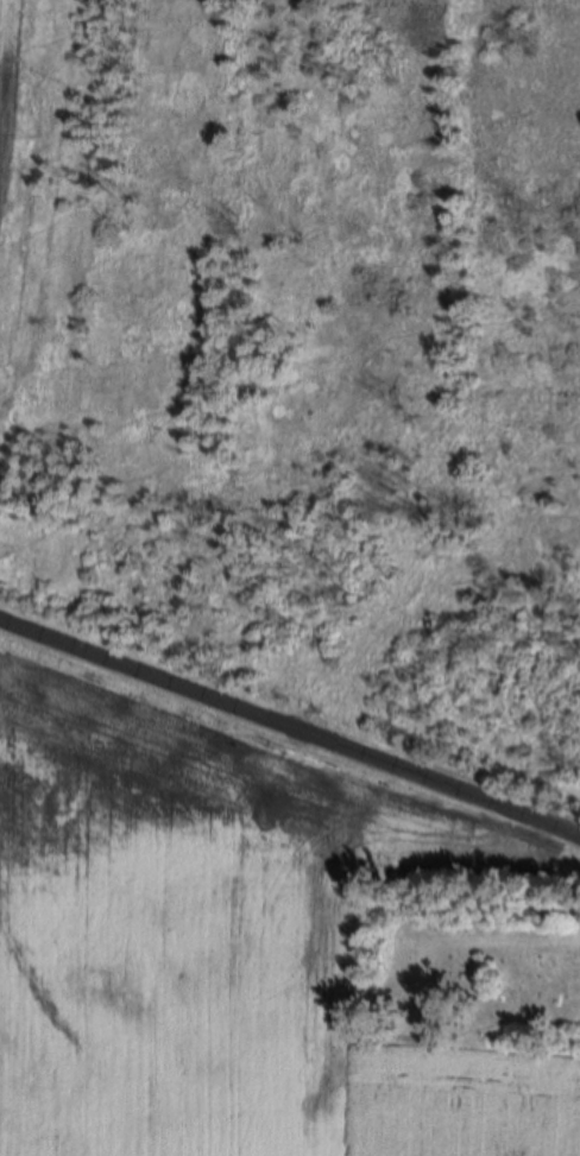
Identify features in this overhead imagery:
road: (290, 732)

